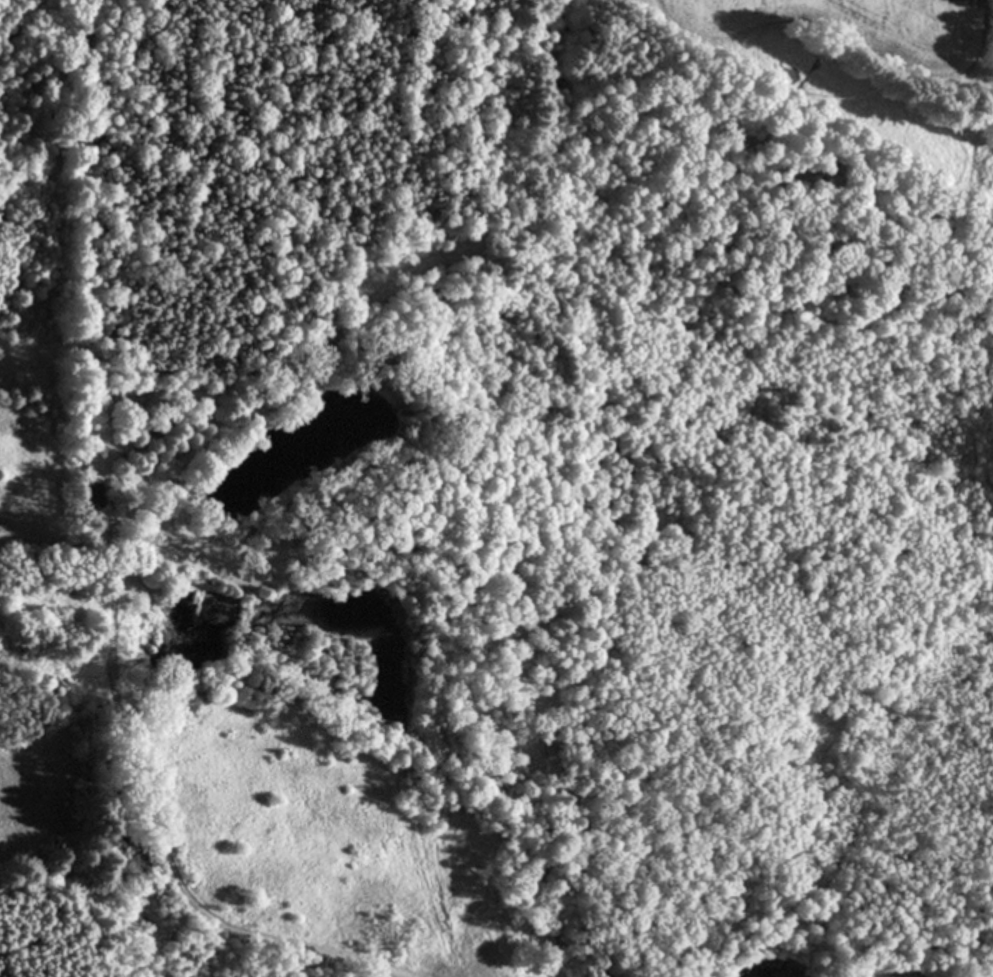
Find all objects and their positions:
building: (85, 497)
road: (172, 860)

